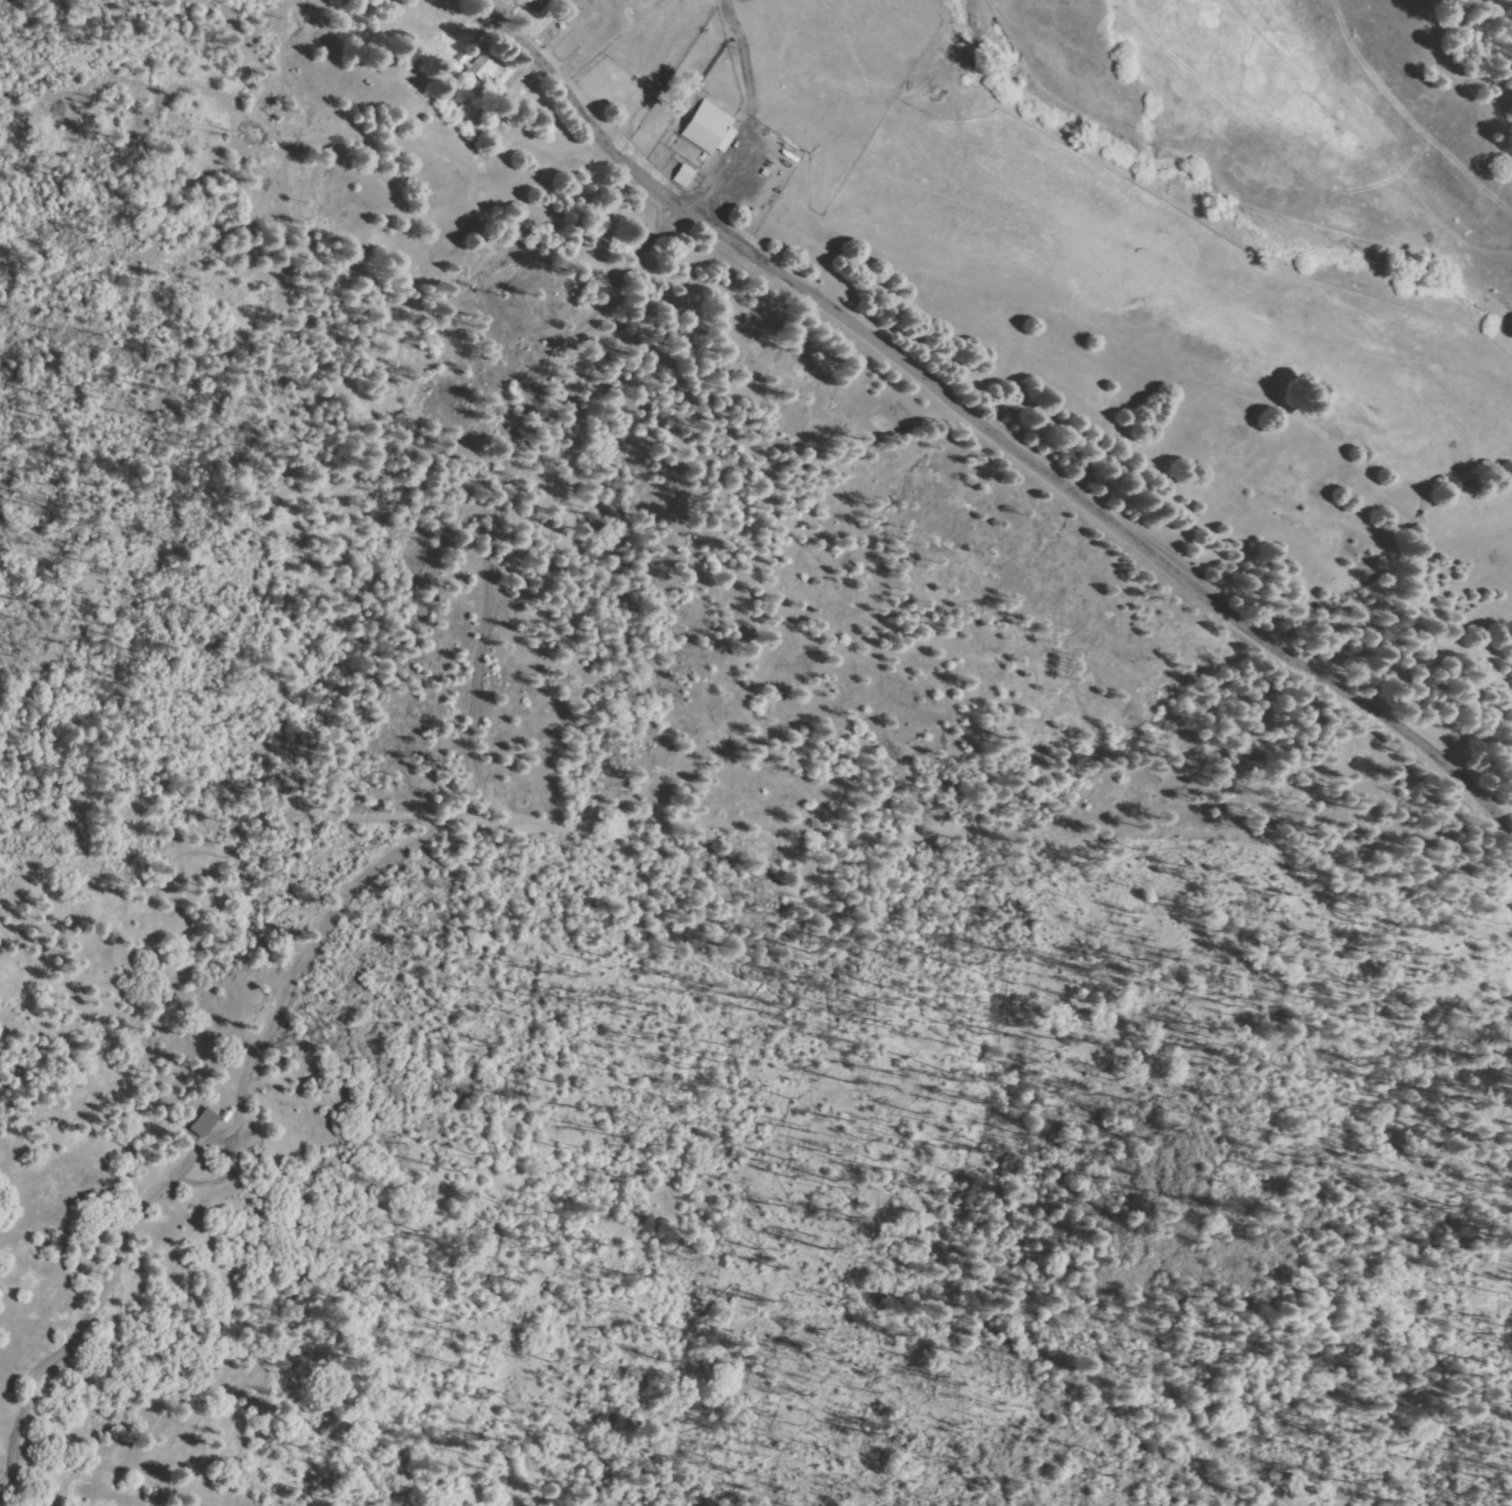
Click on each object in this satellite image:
building: (540, 8)
road: (611, 45)
building: (464, 56)
building: (483, 67)
building: (711, 127)
building: (685, 175)
road: (993, 430)
road: (1503, 825)
building: (227, 1115)
building: (206, 1123)

